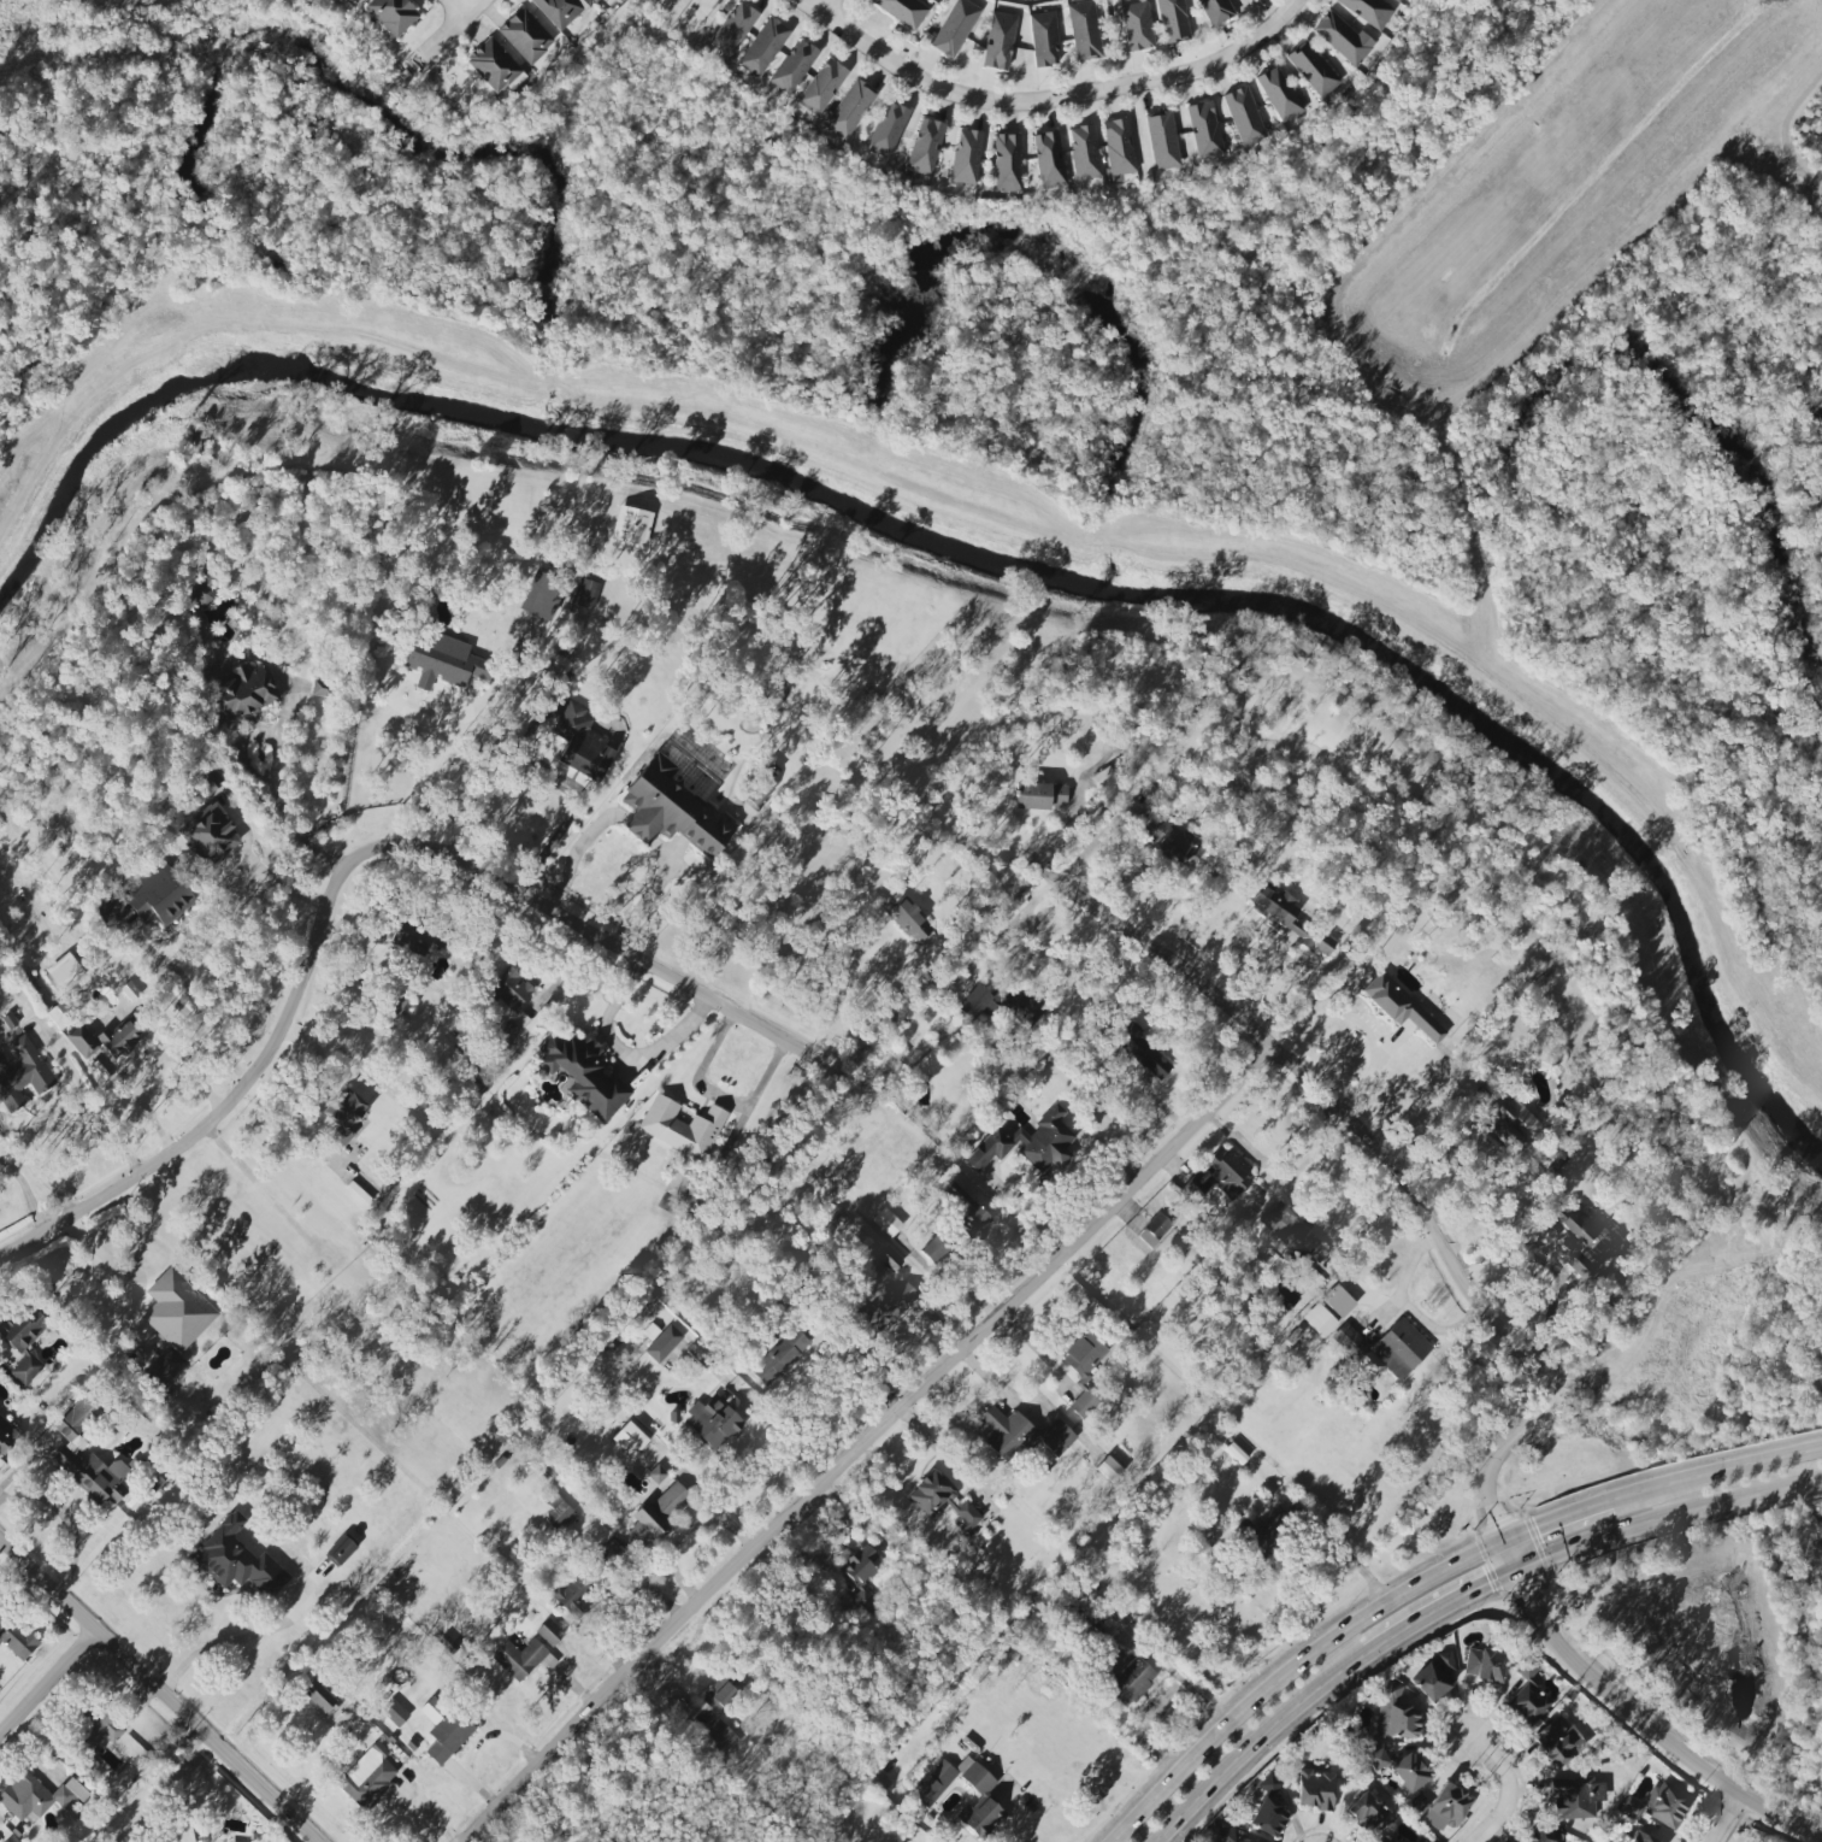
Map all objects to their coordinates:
building: (932, 0)
building: (1397, 0)
building: (352, 1)
building: (597, 1)
road: (824, 6)
road: (456, 8)
building: (903, 10)
building: (559, 11)
building: (1214, 11)
building: (1369, 11)
building: (393, 14)
building: (1173, 19)
road: (456, 24)
building: (1137, 27)
building: (732, 28)
building: (955, 28)
building: (1084, 30)
building: (525, 35)
building: (1343, 37)
building: (1044, 39)
building: (998, 40)
building: (763, 47)
building: (493, 65)
building: (794, 66)
building: (1313, 69)
building: (822, 86)
building: (1279, 94)
road: (1045, 95)
building: (849, 110)
building: (1244, 116)
building: (888, 129)
building: (1204, 130)
road: (1783, 136)
building: (1162, 140)
building: (925, 147)
building: (1118, 148)
building: (1084, 152)
building: (966, 157)
building: (1049, 160)
building: (1007, 163)
river: (625, 442)
building: (631, 526)
building: (201, 592)
building: (541, 596)
road: (558, 692)
building: (240, 693)
building: (582, 743)
road: (491, 765)
building: (207, 777)
road: (414, 788)
building: (757, 791)
building: (1039, 795)
building: (671, 812)
road: (290, 828)
road: (637, 829)
building: (208, 835)
road: (553, 840)
road: (1096, 842)
building: (1172, 843)
river: (1638, 843)
road: (574, 854)
road: (253, 867)
road: (347, 877)
road: (648, 894)
building: (166, 906)
building: (1287, 917)
building: (914, 926)
road: (1003, 931)
building: (411, 938)
building: (1401, 1006)
building: (509, 1007)
road: (181, 1012)
building: (60, 1014)
road: (1362, 1025)
building: (119, 1034)
building: (82, 1041)
building: (1143, 1053)
road: (625, 1059)
road: (151, 1064)
building: (22, 1073)
building: (583, 1073)
road: (1338, 1102)
building: (344, 1113)
road: (43, 1114)
building: (1514, 1124)
building: (682, 1126)
building: (1028, 1141)
road: (1476, 1159)
building: (1215, 1177)
road: (28, 1194)
building: (965, 1207)
building: (886, 1222)
building: (1297, 1238)
building: (1573, 1241)
building: (933, 1248)
building: (889, 1259)
road: (102, 1263)
road: (1550, 1266)
road: (1659, 1276)
road: (1405, 1278)
building: (177, 1310)
road: (1437, 1329)
building: (650, 1331)
building: (664, 1343)
building: (23, 1344)
building: (1385, 1349)
building: (1085, 1354)
building: (780, 1357)
building: (164, 1369)
building: (713, 1422)
building: (6, 1435)
building: (1021, 1435)
building: (630, 1438)
road: (791, 1440)
road: (872, 1441)
road: (1497, 1459)
building: (87, 1460)
building: (1109, 1469)
building: (656, 1473)
road: (1715, 1473)
building: (942, 1500)
building: (559, 1514)
building: (656, 1514)
road: (67, 1519)
road: (1558, 1519)
road: (1670, 1522)
traffic signals: (1509, 1538)
building: (605, 1556)
building: (237, 1560)
traffic signals: (1523, 1571)
building: (860, 1575)
road: (1444, 1609)
building: (549, 1632)
building: (17, 1638)
road: (222, 1649)
building: (521, 1659)
building: (1484, 1665)
road: (1296, 1669)
building: (1433, 1679)
building: (1131, 1681)
road: (49, 1685)
road: (160, 1688)
building: (721, 1693)
road: (1331, 1694)
building: (1528, 1697)
building: (324, 1703)
road: (1454, 1709)
building: (395, 1712)
building: (1396, 1712)
road: (1634, 1717)
building: (95, 1728)
building: (444, 1730)
building: (1558, 1741)
road: (1263, 1743)
building: (1411, 1771)
building: (367, 1777)
building: (934, 1783)
road: (1511, 1787)
building: (1315, 1789)
building: (36, 1796)
building: (1575, 1797)
building: (985, 1805)
building: (1420, 1805)
building: (1449, 1805)
building: (1667, 1805)
building: (1268, 1808)
building: (1366, 1811)
road: (1703, 1818)
road: (1722, 1818)
road: (1016, 1820)
road: (1322, 1826)
road: (1733, 1826)
building: (1225, 1834)
building: (1541, 1835)
building: (1641, 1837)
building: (5, 1841)
building: (1391, 1841)

